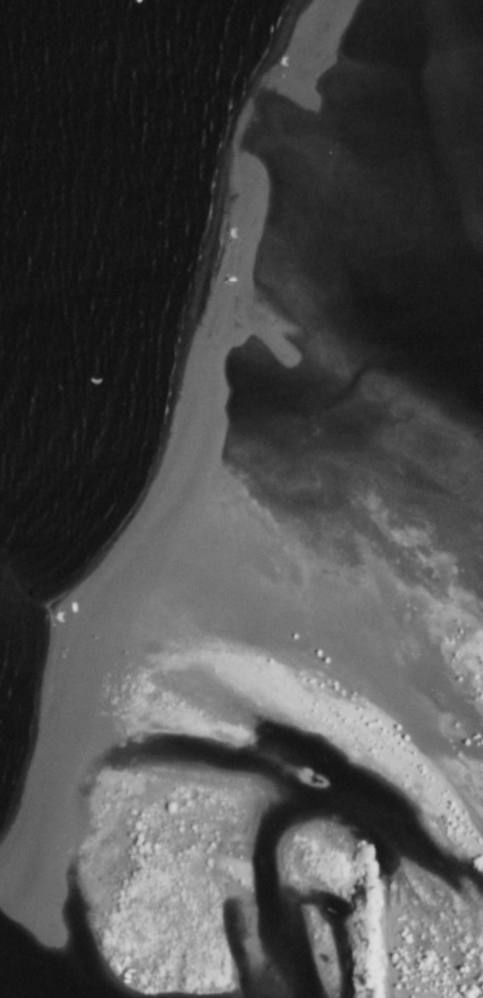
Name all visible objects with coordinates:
lighthouse: (324, 781)
park: (360, 925)

